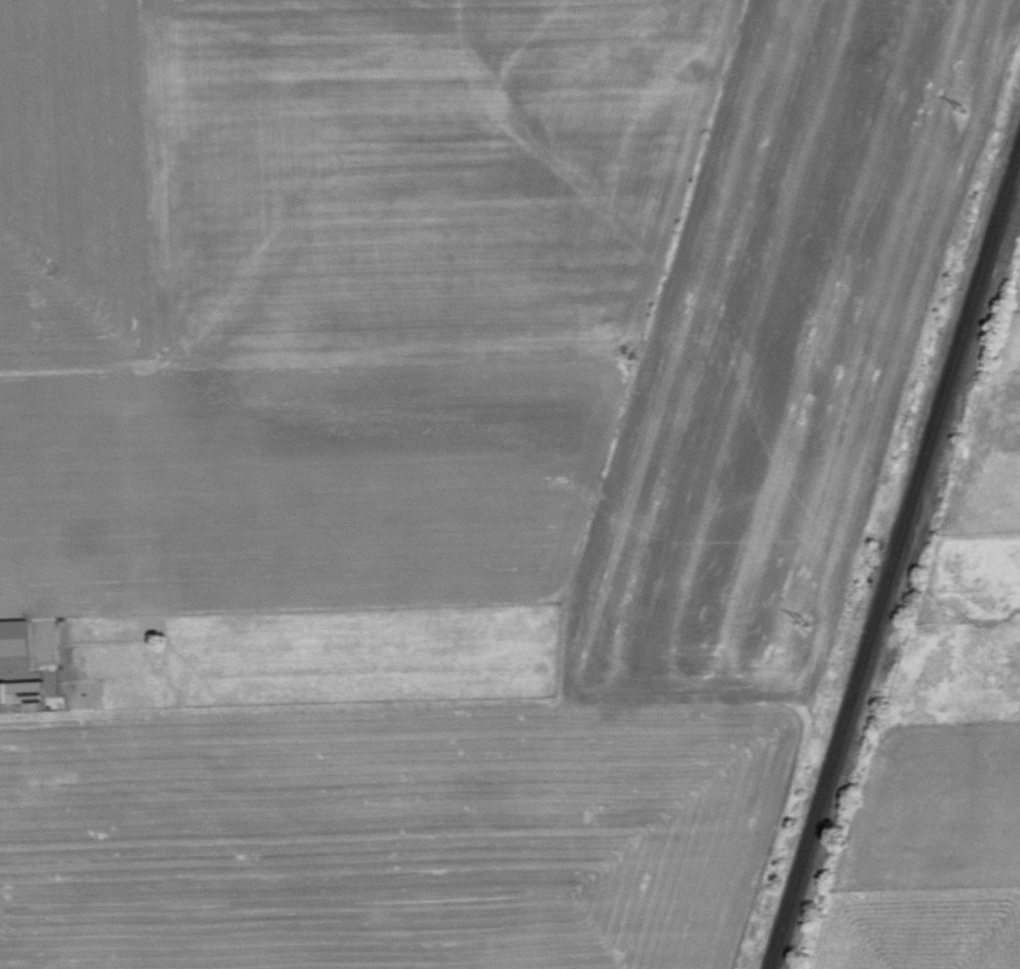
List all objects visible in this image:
power tower: (952, 104)
railway: (890, 554)
power tower: (792, 618)
building: (15, 636)
building: (22, 691)

